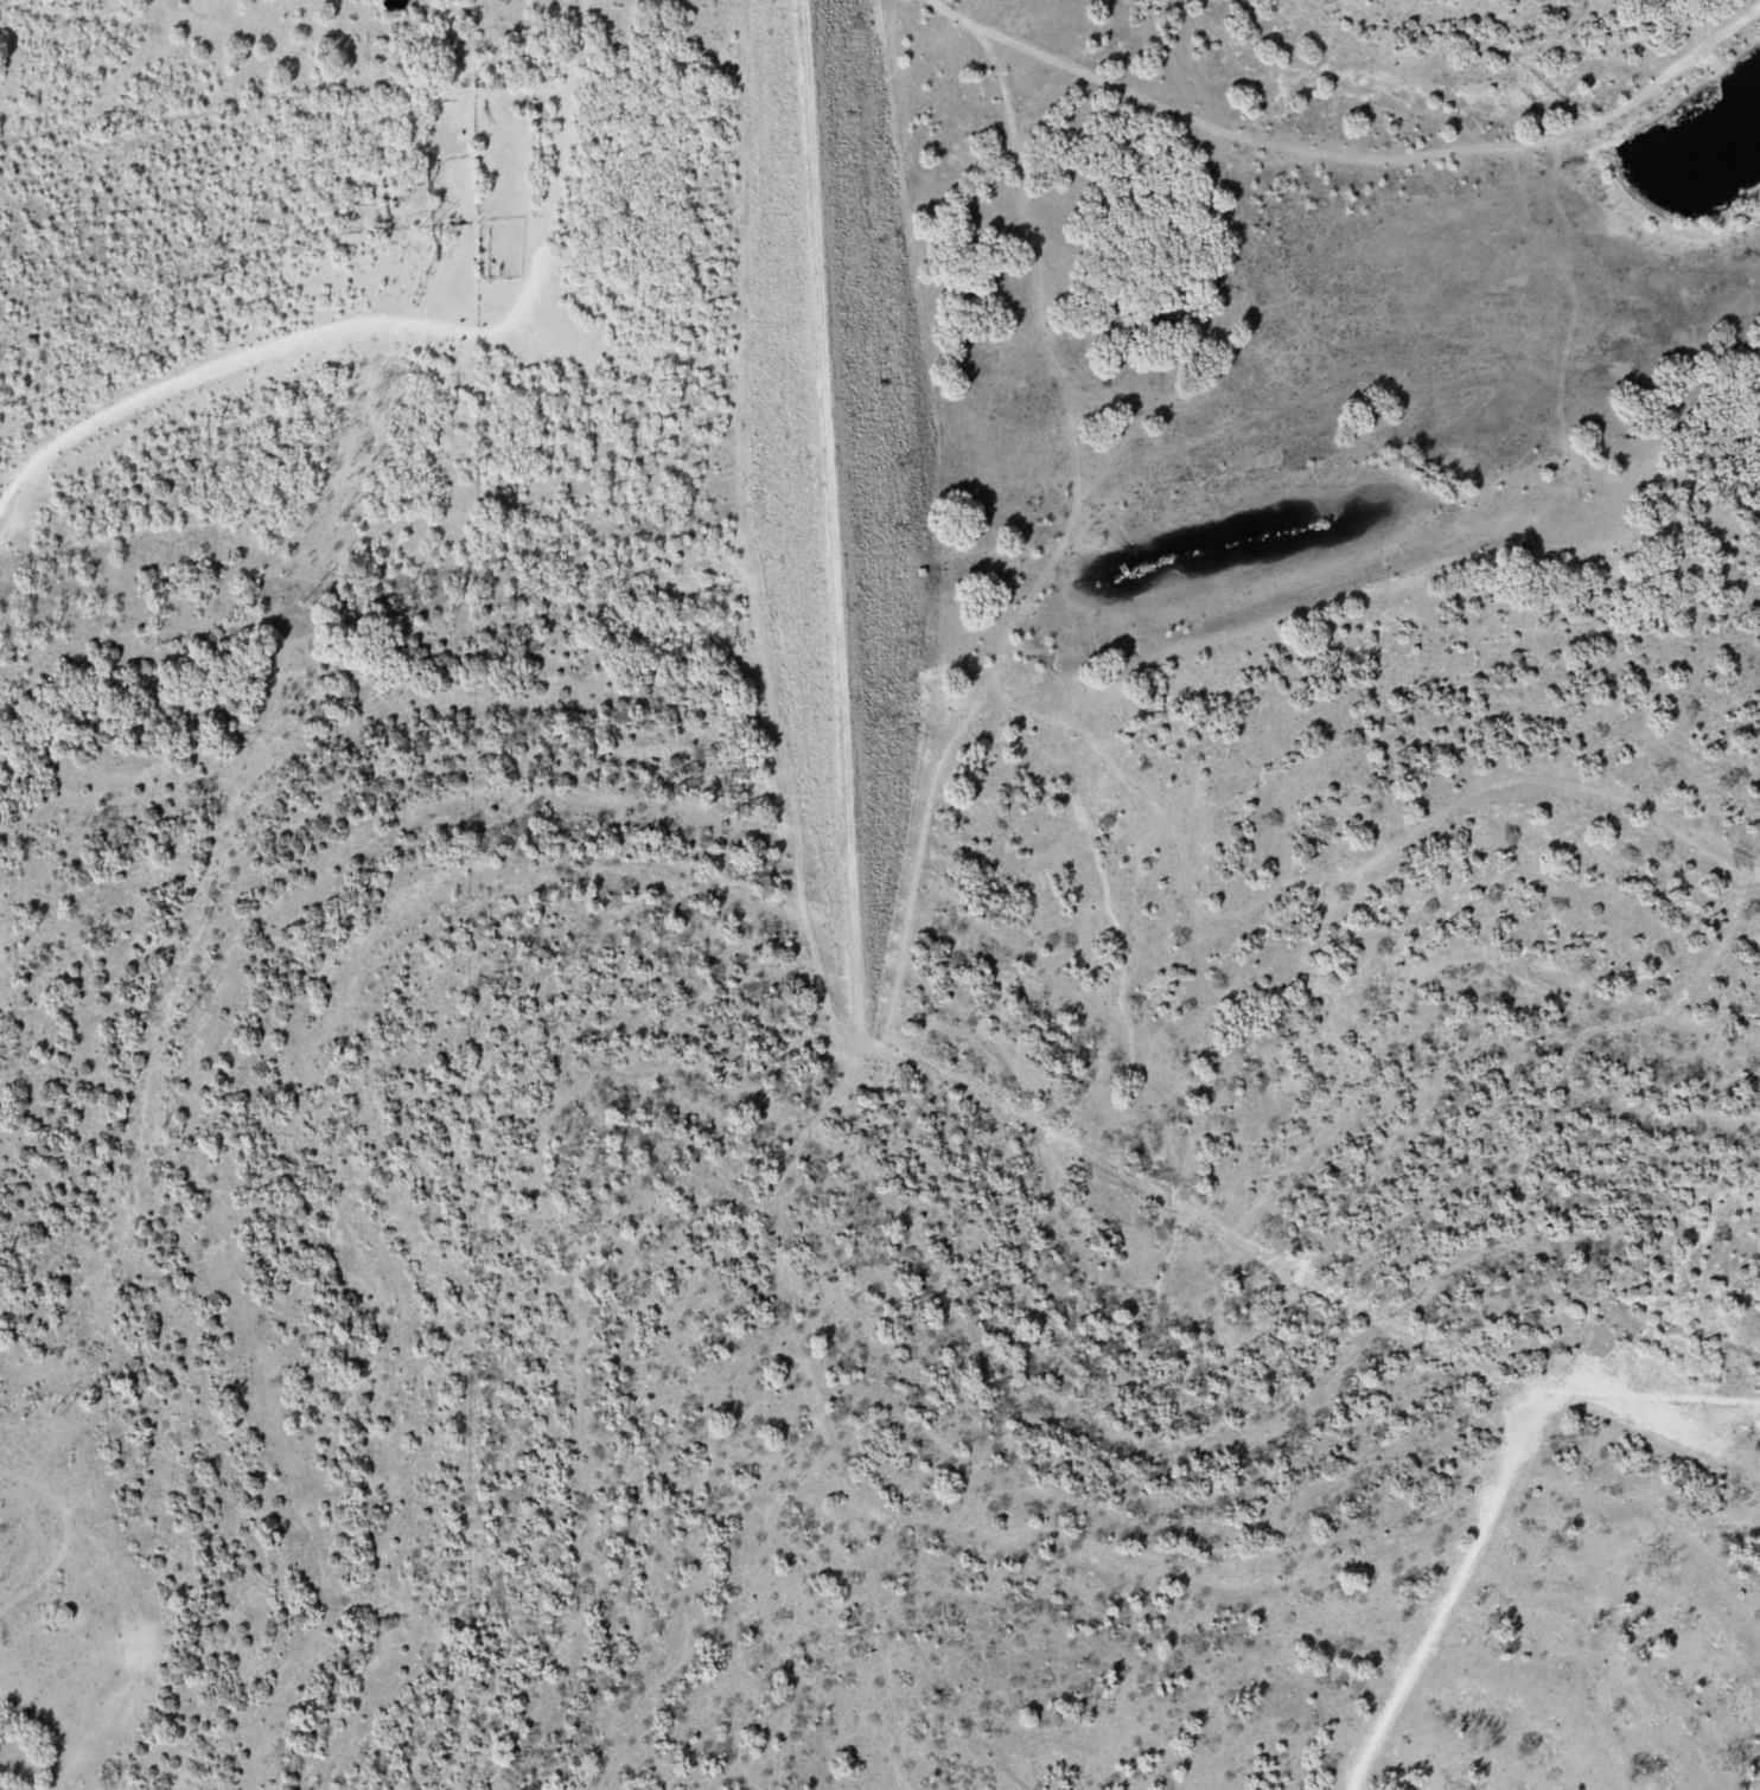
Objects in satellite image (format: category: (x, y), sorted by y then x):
power tower: (416, 230)
road: (256, 330)
dam: (843, 524)
power tower: (301, 601)
power tower: (177, 1009)
power tower: (53, 1411)

